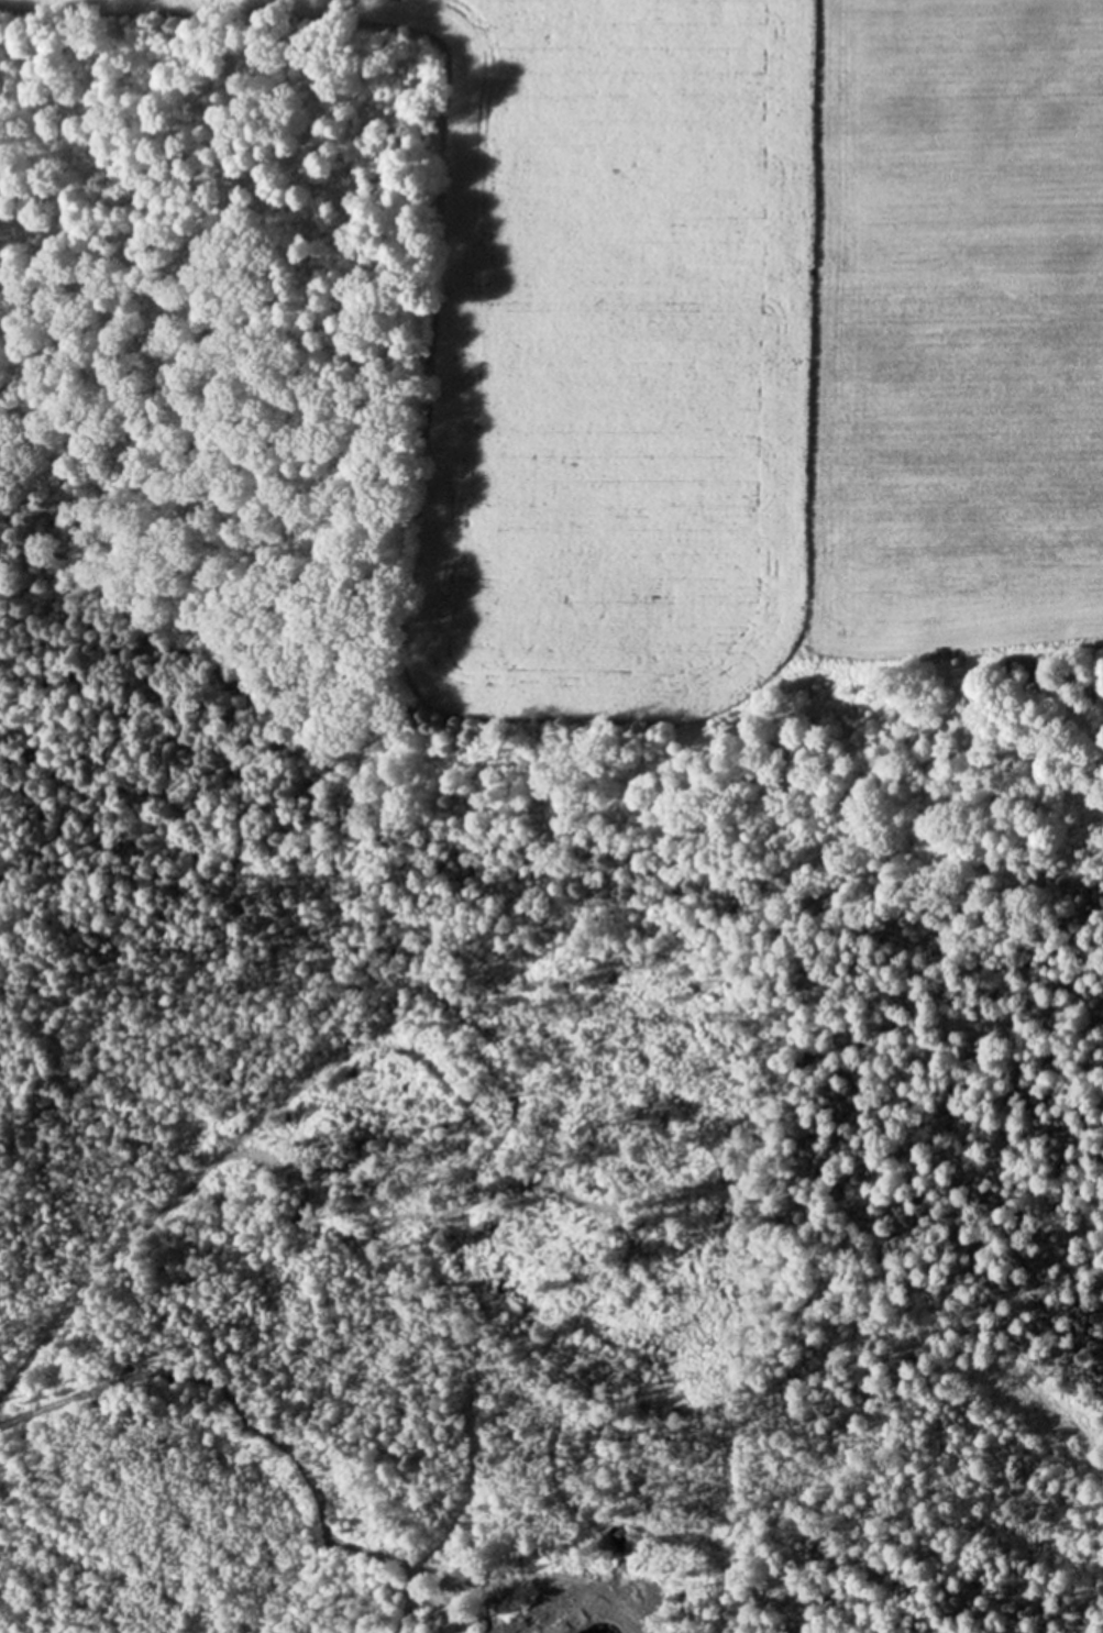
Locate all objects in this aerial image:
quarry: (9, 1612)
quarry: (444, 1614)

